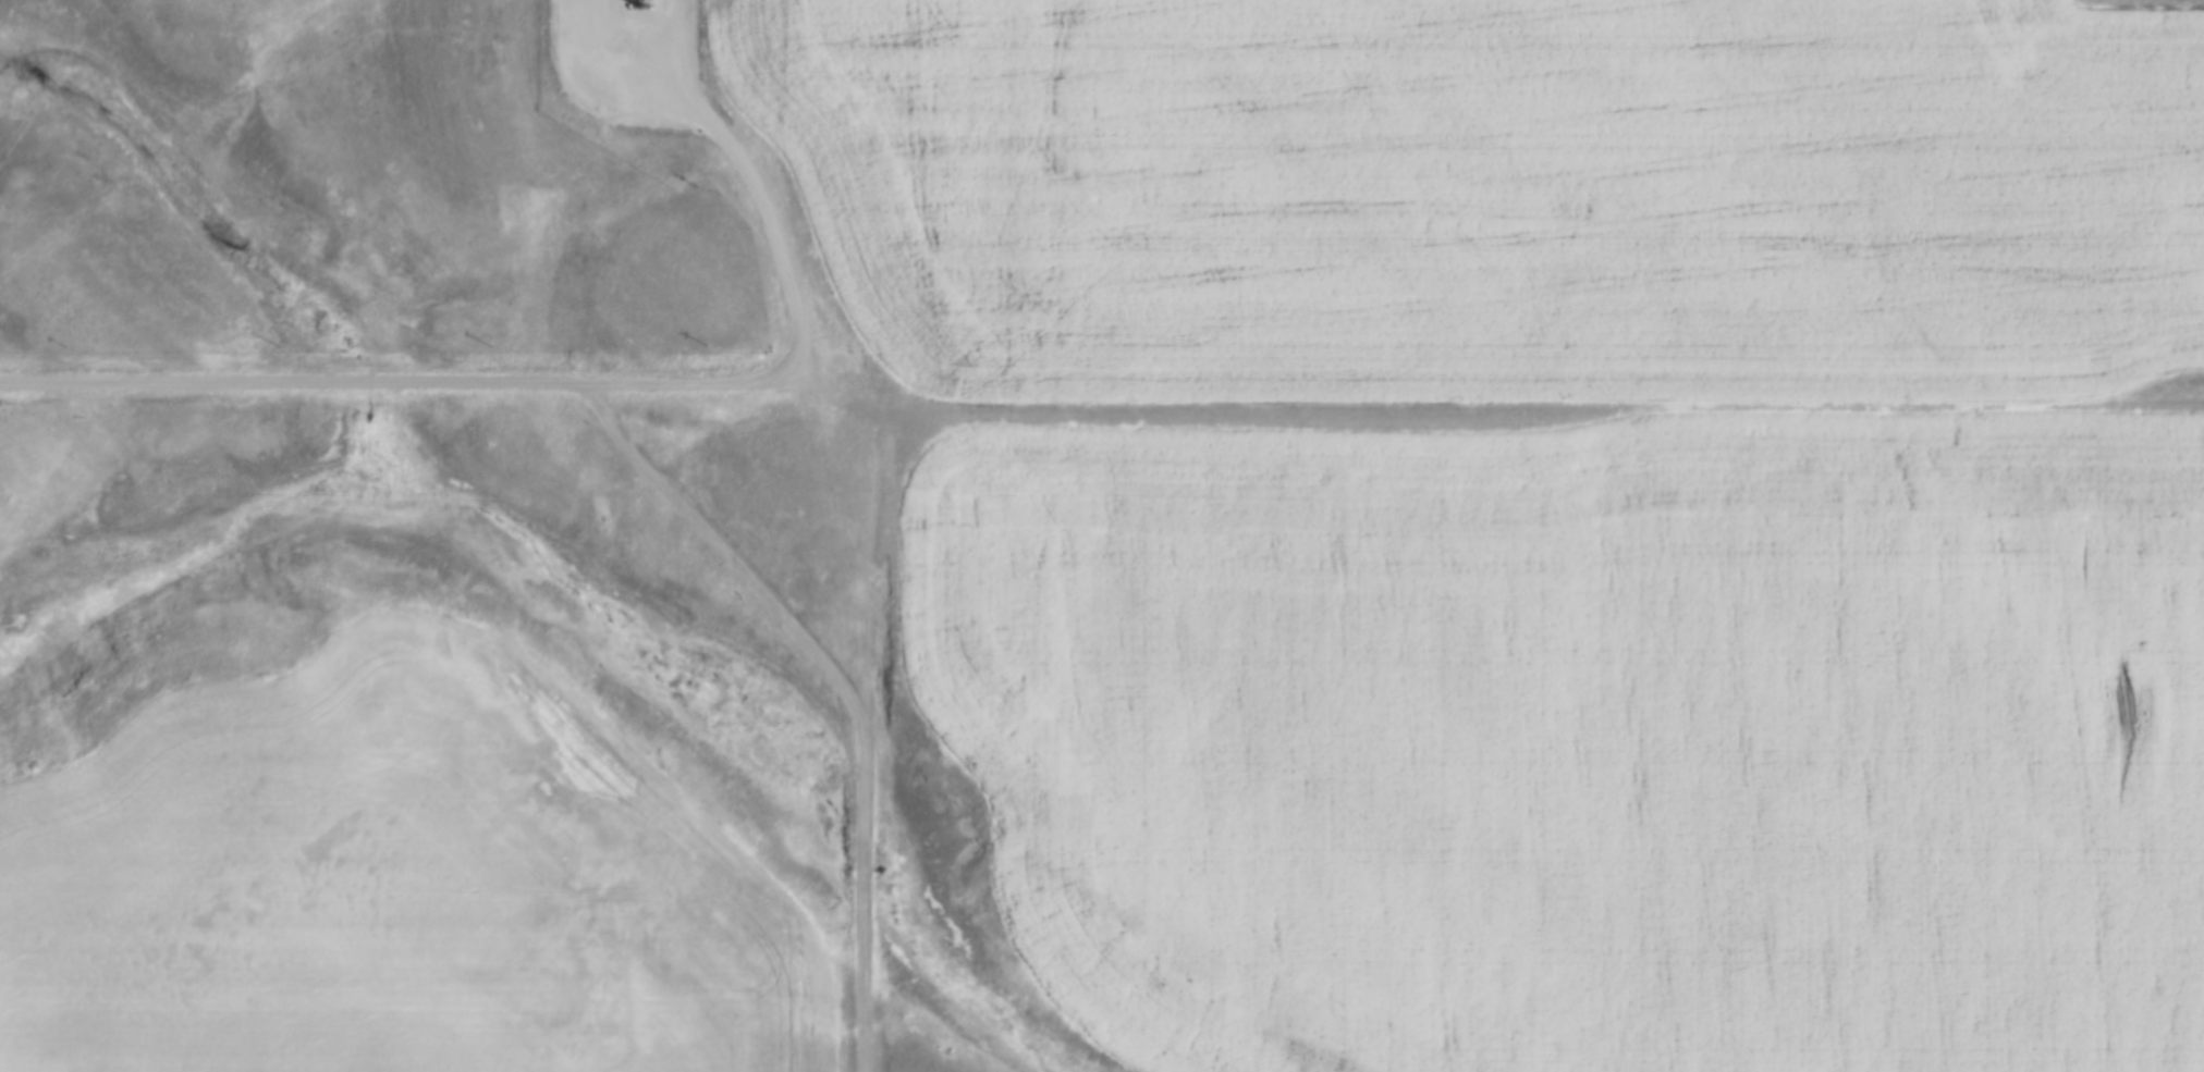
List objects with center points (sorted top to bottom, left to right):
road: (780, 262)
road: (292, 386)
road: (845, 688)

